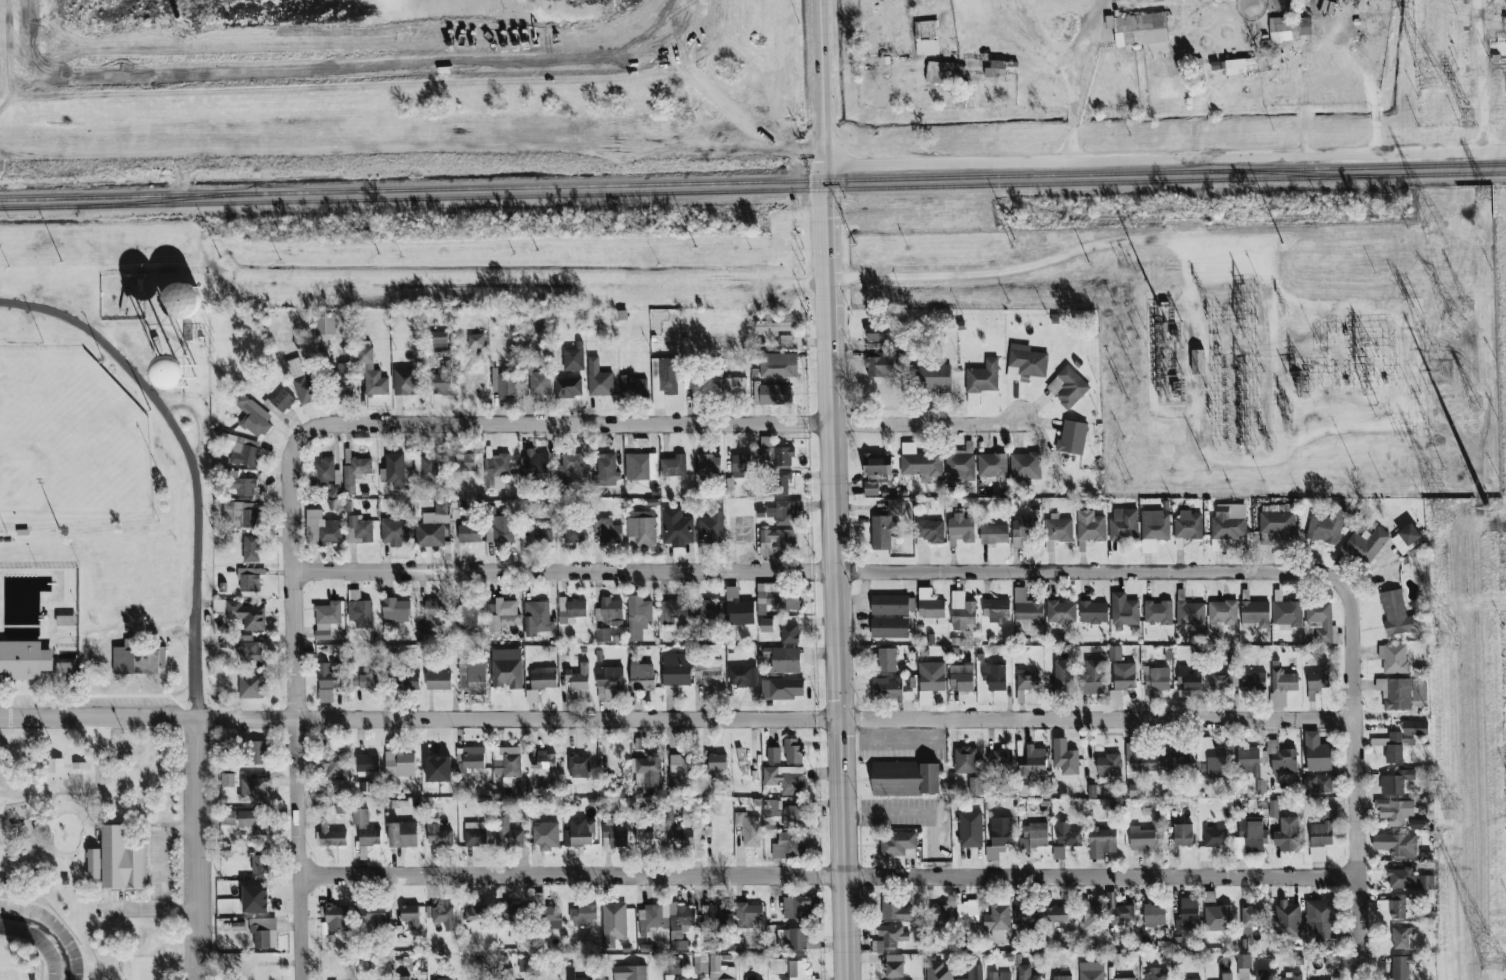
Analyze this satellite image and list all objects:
building: (1135, 28)
building: (1286, 29)
building: (926, 37)
building: (1234, 66)
building: (996, 69)
building: (945, 73)
road: (1076, 78)
power tower: (1431, 79)
road: (821, 82)
power tower: (1466, 116)
road: (414, 152)
road: (1165, 157)
railway: (1296, 173)
railway: (880, 178)
railway: (791, 189)
railway: (127, 196)
railway: (166, 200)
railway: (38, 207)
power tower: (1436, 233)
road: (1009, 275)
road: (826, 294)
building: (181, 299)
building: (325, 323)
power tower: (1453, 325)
building: (774, 326)
building: (880, 333)
building: (439, 339)
building: (475, 340)
building: (786, 341)
power tower: (1368, 358)
building: (1028, 360)
power substation: (1257, 364)
building: (778, 365)
building: (880, 365)
water tower: (179, 372)
building: (371, 372)
building: (179, 373)
building: (932, 376)
building: (983, 377)
building: (345, 378)
building: (537, 379)
building: (598, 379)
building: (405, 381)
building: (694, 381)
building: (302, 382)
building: (441, 384)
building: (503, 384)
building: (632, 385)
building: (734, 386)
building: (568, 387)
building: (1068, 387)
building: (772, 394)
building: (282, 400)
building: (274, 410)
building: (252, 416)
road: (658, 424)
building: (1073, 436)
park: (69, 443)
building: (241, 449)
road: (189, 459)
building: (918, 459)
building: (960, 459)
building: (536, 460)
building: (572, 461)
building: (877, 461)
building: (465, 462)
building: (640, 462)
building: (708, 462)
building: (740, 462)
building: (991, 462)
building: (425, 463)
building: (674, 463)
building: (326, 464)
building: (359, 464)
building: (582, 475)
building: (561, 476)
building: (778, 483)
building: (243, 486)
building: (871, 488)
power tower: (1486, 506)
building: (895, 507)
power tower: (1443, 510)
building: (779, 512)
building: (242, 514)
building: (1275, 522)
building: (711, 523)
building: (1124, 525)
building: (1188, 525)
building: (1229, 525)
building: (432, 526)
building: (1091, 526)
building: (676, 527)
building: (321, 528)
building: (960, 528)
building: (359, 529)
building: (503, 529)
building: (641, 529)
building: (1045, 529)
building: (1155, 529)
building: (1320, 530)
building: (394, 531)
building: (607, 531)
building: (930, 531)
building: (540, 532)
building: (882, 532)
building: (469, 533)
building: (573, 533)
building: (993, 534)
building: (776, 540)
building: (1362, 545)
building: (251, 549)
park: (83, 571)
road: (816, 571)
building: (250, 579)
building: (776, 597)
building: (889, 604)
building: (929, 604)
building: (738, 608)
building: (396, 610)
building: (570, 610)
building: (709, 610)
building: (998, 610)
building: (435, 611)
building: (672, 611)
building: (1095, 611)
building: (1125, 611)
building: (1160, 611)
building: (609, 612)
building: (1063, 612)
building: (1224, 612)
building: (361, 613)
building: (466, 613)
building: (963, 613)
building: (1192, 613)
building: (1258, 613)
building: (1288, 613)
building: (1392, 613)
building: (246, 614)
building: (503, 615)
building: (638, 616)
building: (326, 618)
building: (537, 618)
building: (1321, 618)
building: (766, 625)
building: (889, 627)
building: (790, 633)
building: (602, 634)
power tower: (1451, 637)
building: (247, 648)
building: (1395, 657)
building: (24, 659)
building: (138, 659)
building: (887, 659)
building: (785, 660)
building: (507, 668)
building: (676, 669)
building: (708, 670)
building: (471, 671)
building: (641, 675)
building: (1127, 675)
building: (743, 676)
building: (994, 676)
building: (543, 677)
building: (578, 677)
building: (961, 678)
building: (1161, 678)
building: (409, 679)
building: (609, 679)
building: (365, 680)
building: (438, 680)
building: (930, 680)
building: (1208, 680)
building: (1318, 680)
building: (1028, 681)
building: (910, 682)
building: (1291, 682)
building: (251, 685)
building: (782, 688)
building: (887, 689)
building: (1401, 692)
building: (531, 696)
traffic signals: (840, 700)
road: (840, 701)
road: (295, 707)
road: (676, 719)
building: (1416, 728)
traffic signals: (840, 736)
building: (1391, 746)
building: (792, 750)
building: (254, 752)
building: (1318, 753)
building: (773, 754)
building: (1037, 754)
building: (999, 756)
building: (1067, 757)
building: (470, 758)
building: (543, 759)
building: (965, 760)
building: (332, 761)
building: (506, 761)
building: (1162, 761)
building: (1284, 761)
building: (717, 762)
building: (367, 763)
building: (399, 763)
building: (55, 765)
building: (1109, 765)
building: (579, 766)
building: (1036, 767)
building: (438, 768)
building: (650, 770)
building: (681, 771)
building: (905, 778)
building: (785, 779)
road: (1353, 779)
building: (227, 780)
building: (1393, 784)
building: (975, 786)
building: (605, 787)
building: (254, 789)
road: (103, 796)
building: (341, 806)
building: (771, 807)
power tower: (1453, 809)
building: (1396, 810)
building: (669, 813)
building: (360, 816)
building: (794, 816)
building: (228, 817)
building: (253, 821)
building: (748, 828)
building: (686, 829)
building: (970, 829)
building: (508, 833)
building: (580, 833)
building: (1322, 833)
building: (403, 834)
building: (1039, 834)
building: (1185, 834)
building: (1288, 834)
building: (438, 835)
building: (475, 835)
building: (546, 835)
building: (613, 835)
building: (648, 835)
building: (1067, 835)
building: (1239, 835)
building: (331, 836)
building: (1000, 836)
building: (369, 837)
building: (1144, 838)
building: (1105, 842)
building: (896, 843)
building: (1397, 844)
building: (787, 846)
road: (198, 849)
building: (1060, 851)
building: (121, 861)
building: (94, 863)
building: (259, 864)
road: (168, 866)
road: (828, 876)
building: (1407, 879)
building: (256, 899)
building: (799, 906)
building: (1398, 906)
building: (894, 909)
building: (514, 912)
building: (1125, 913)
building: (375, 914)
building: (410, 914)
building: (478, 914)
building: (937, 914)
building: (967, 914)
building: (1061, 914)
building: (582, 915)
building: (1156, 915)
building: (1189, 915)
building: (441, 916)
building: (747, 916)
building: (335, 917)
building: (552, 917)
building: (665, 917)
building: (714, 917)
building: (1275, 917)
building: (1219, 918)
building: (1326, 918)
building: (998, 921)
building: (613, 922)
building: (264, 932)
building: (892, 935)
building: (792, 938)
building: (1403, 938)
building: (700, 963)
building: (1244, 963)
building: (894, 965)
building: (777, 966)
building: (673, 967)
building: (798, 969)
building: (720, 970)
building: (1091, 971)
building: (630, 972)
building: (973, 972)
power tower: (1492, 972)
building: (506, 973)
building: (1027, 973)
building: (573, 974)
building: (1000, 975)
building: (1156, 975)
building: (1228, 976)
building: (1063, 977)
building: (1293, 977)
building: (404, 978)
building: (552, 978)
building: (748, 978)
building: (1123, 978)
building: (445, 979)
building: (691, 979)
building: (1172, 979)
building: (1193, 979)

